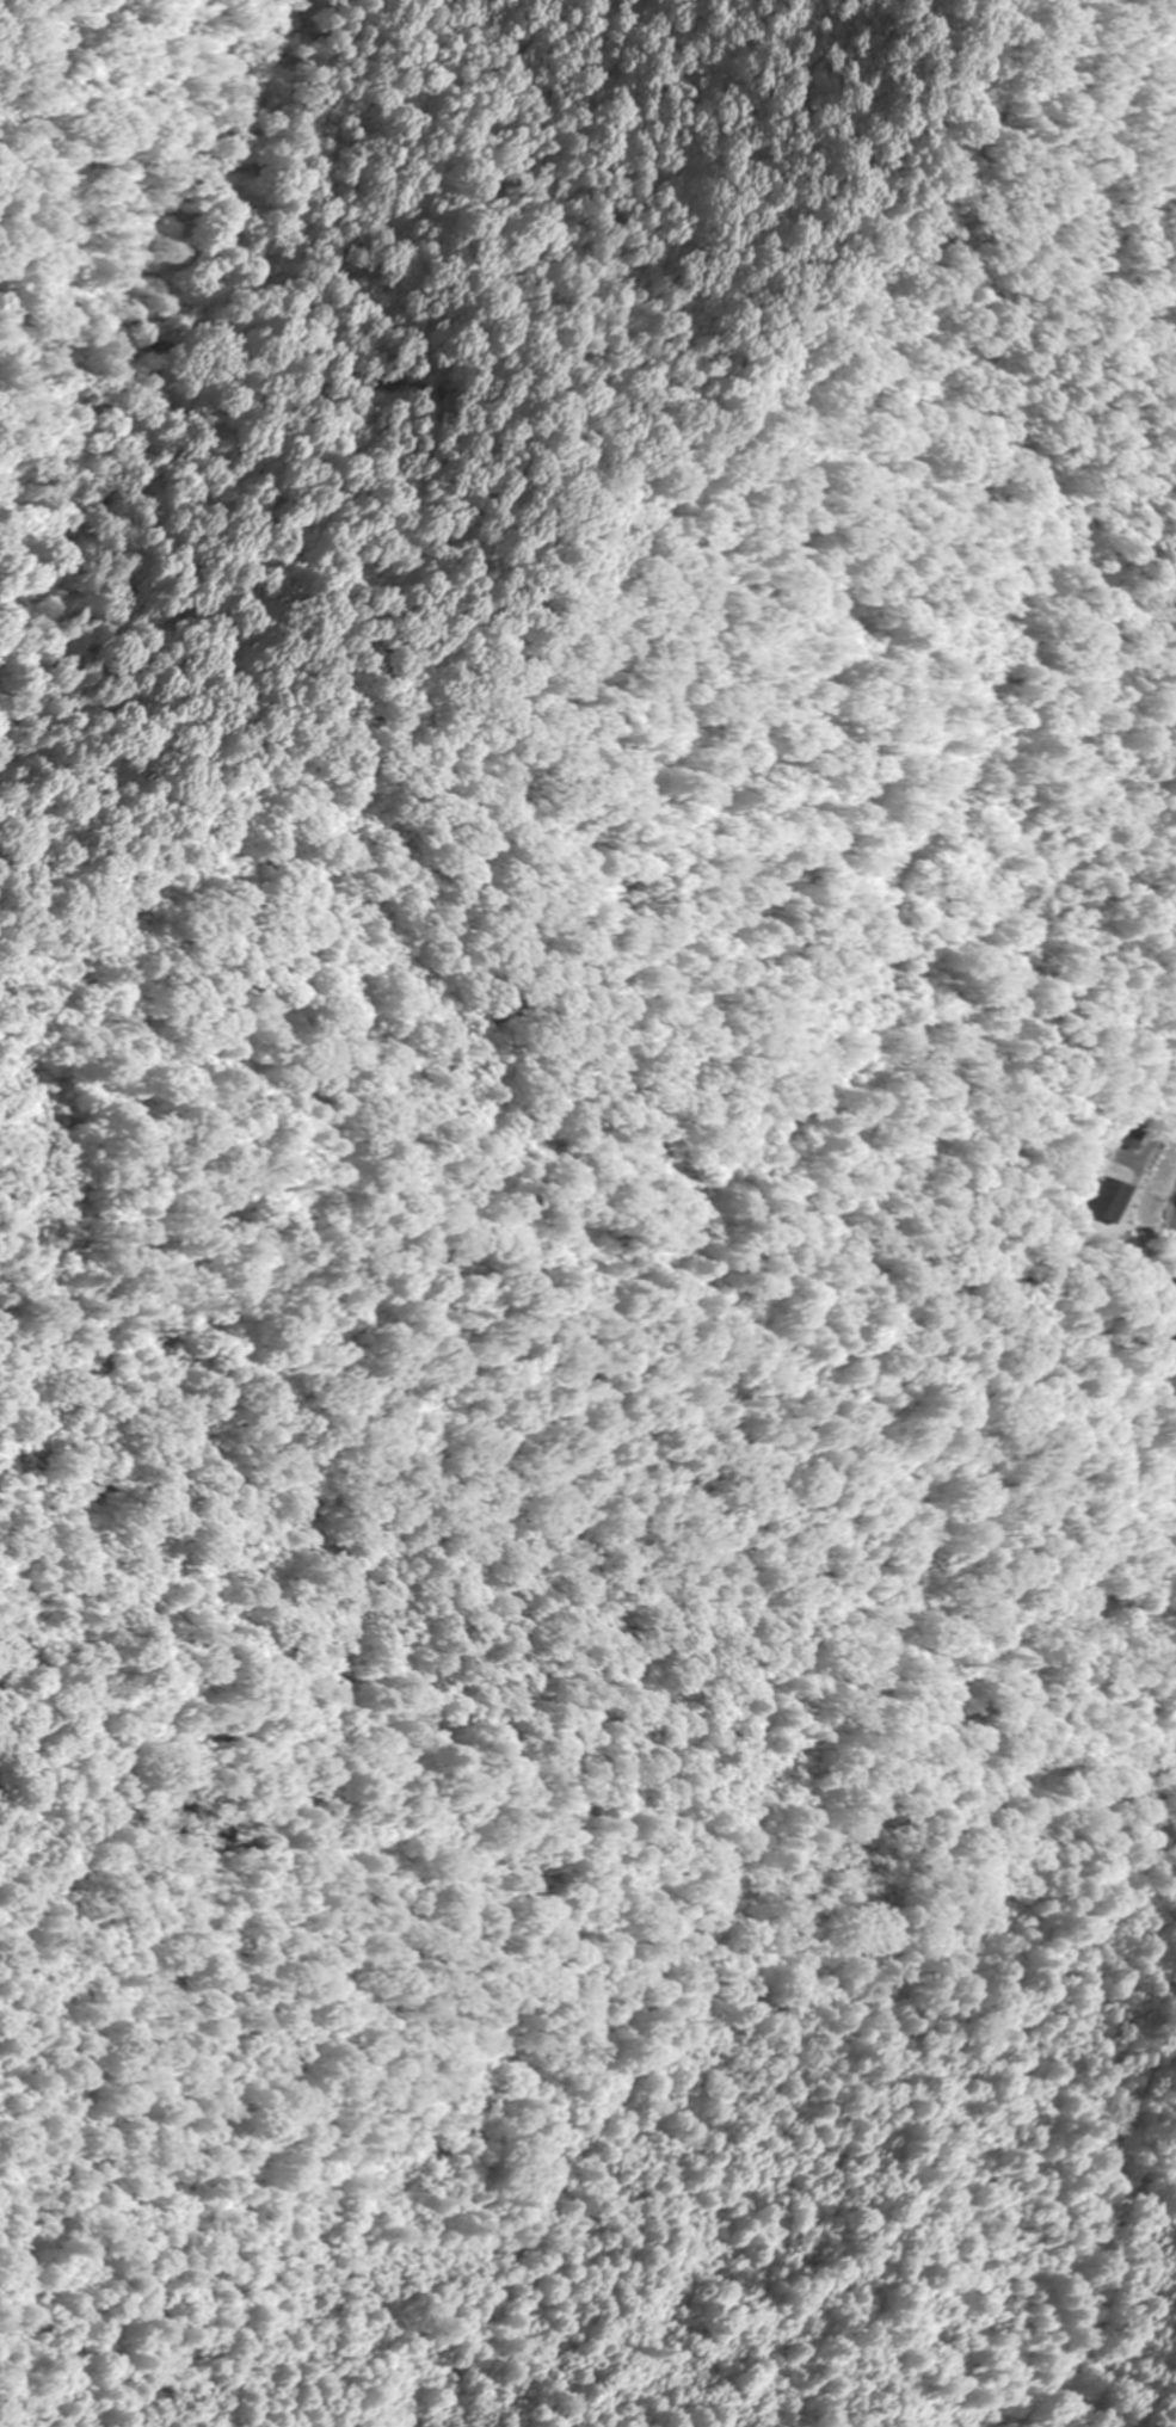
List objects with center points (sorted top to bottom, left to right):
building: (1146, 1135)
building: (1122, 1200)

